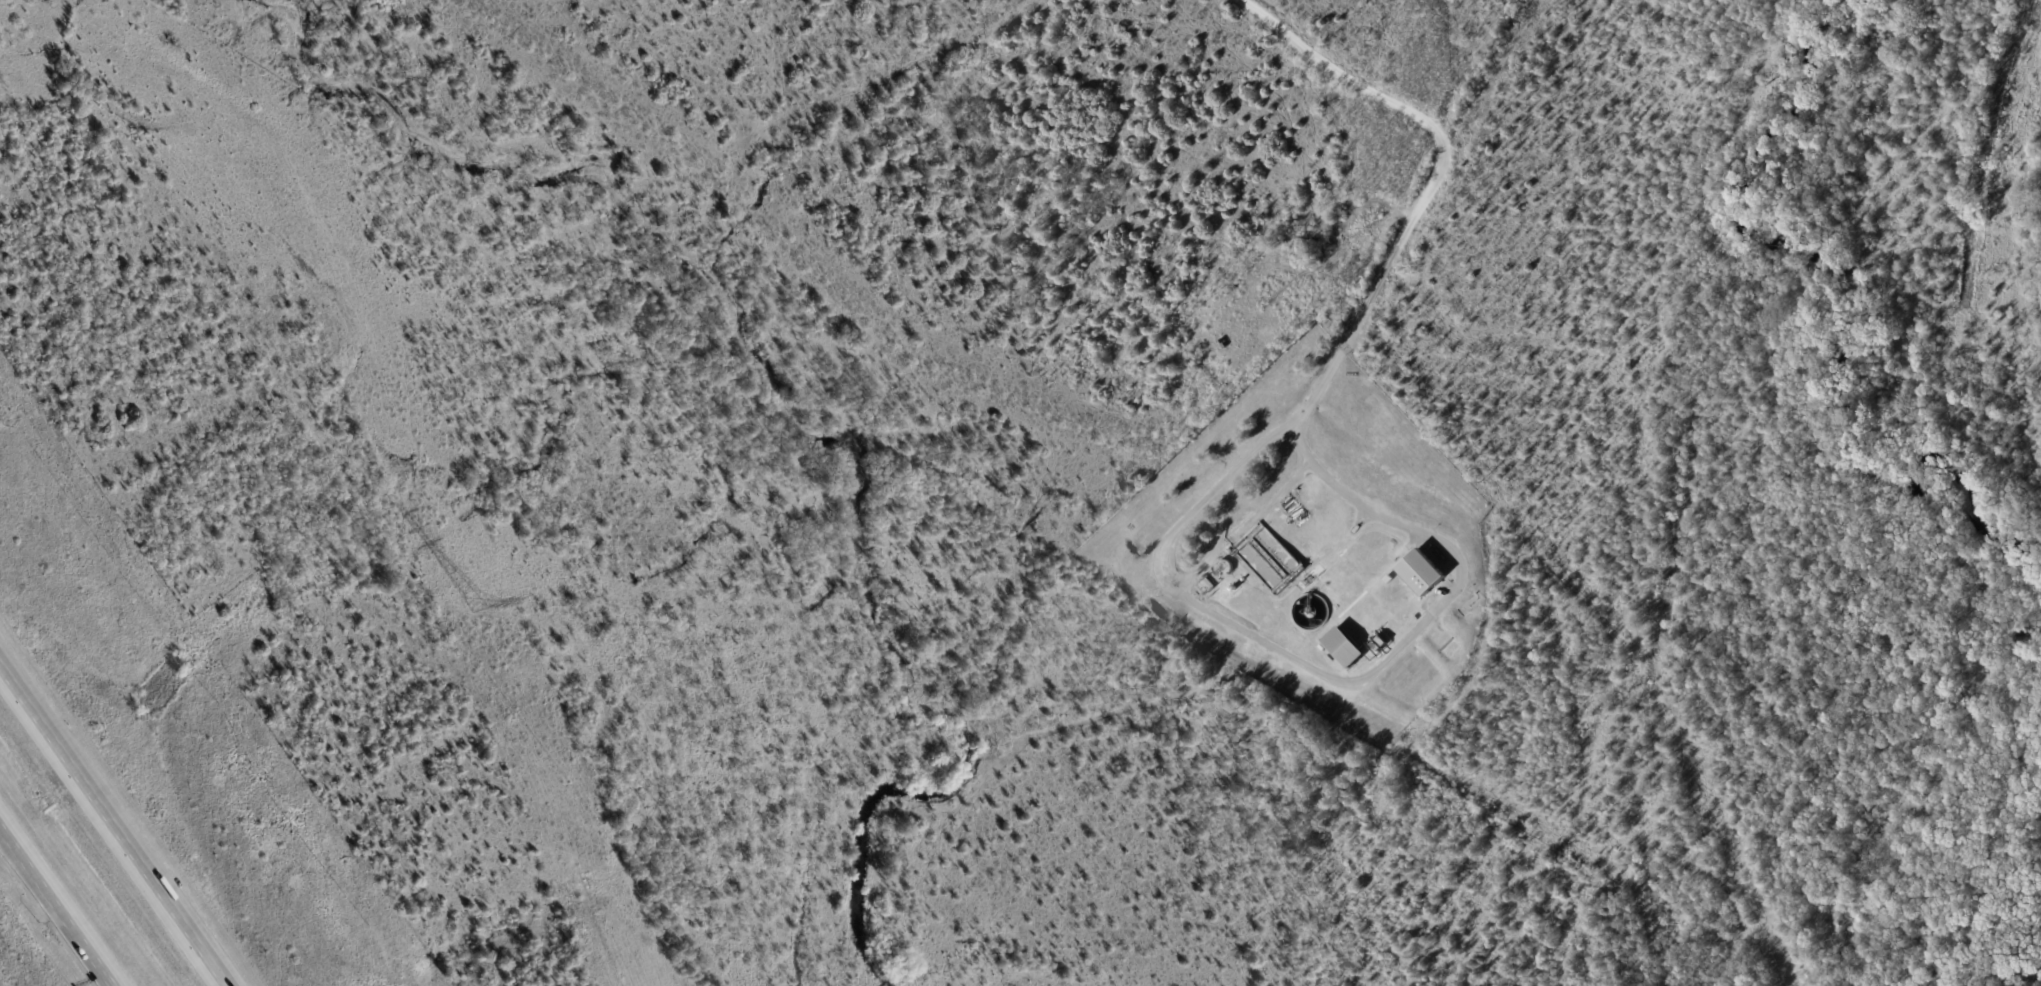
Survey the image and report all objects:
road: (1435, 179)
road: (1247, 524)
wastewater plant: (1308, 543)
building: (1422, 573)
power tower: (478, 605)
building: (1344, 648)
road: (1340, 678)
road: (116, 820)
road: (63, 901)

